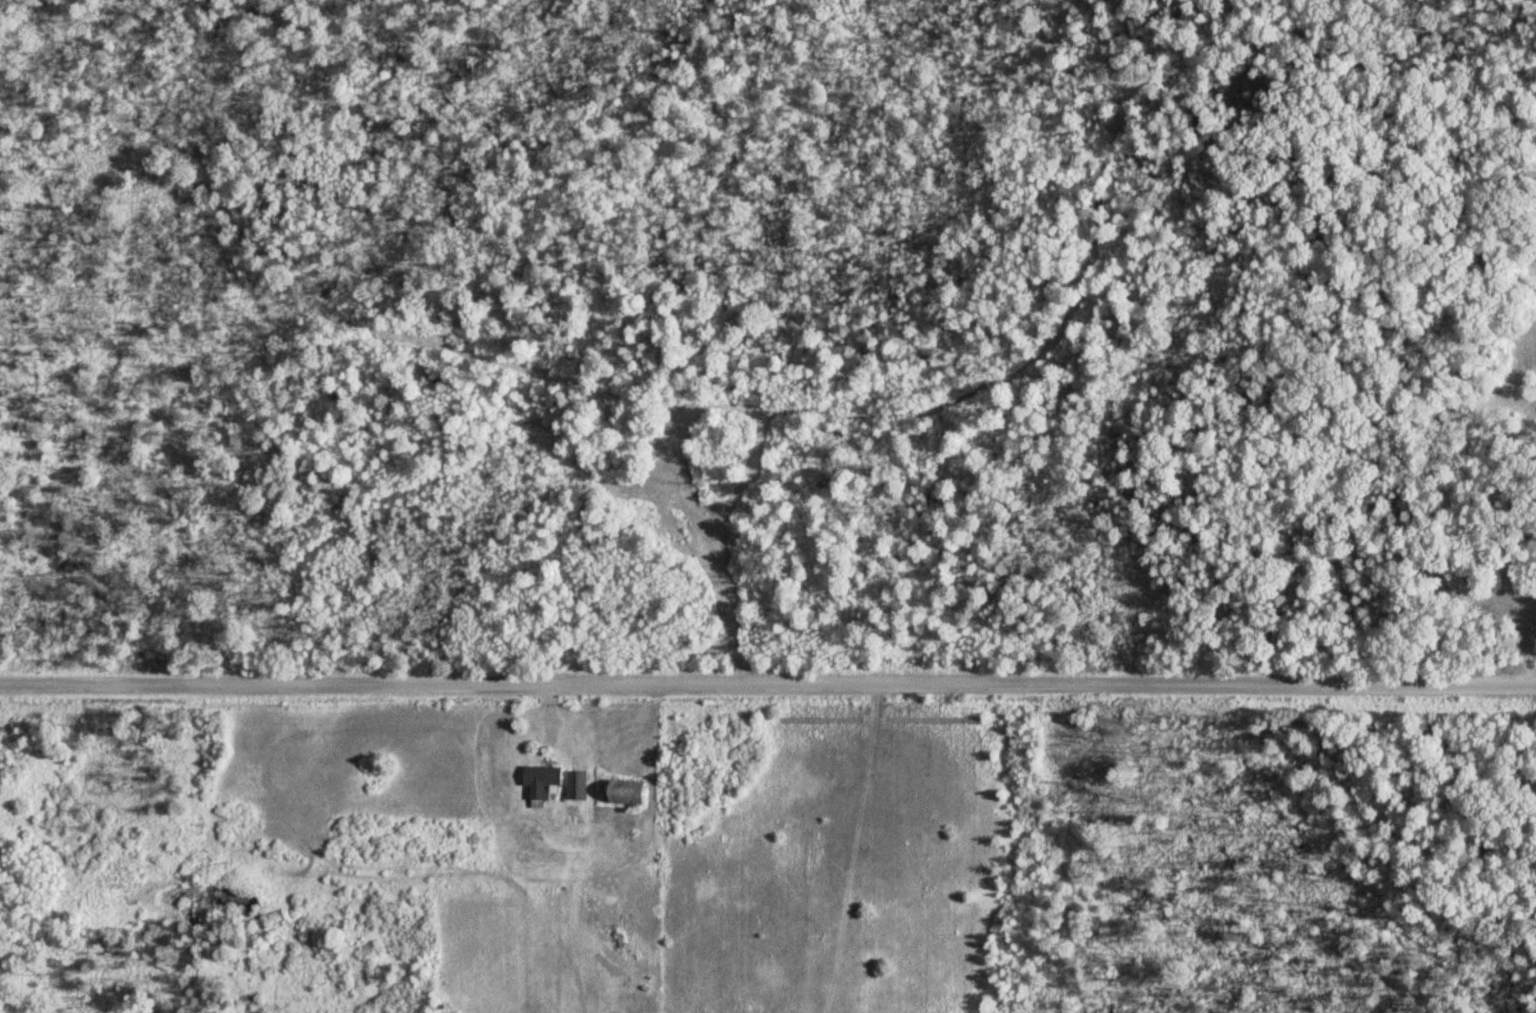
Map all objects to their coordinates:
road: (768, 683)
building: (546, 781)
building: (579, 785)
building: (633, 792)

